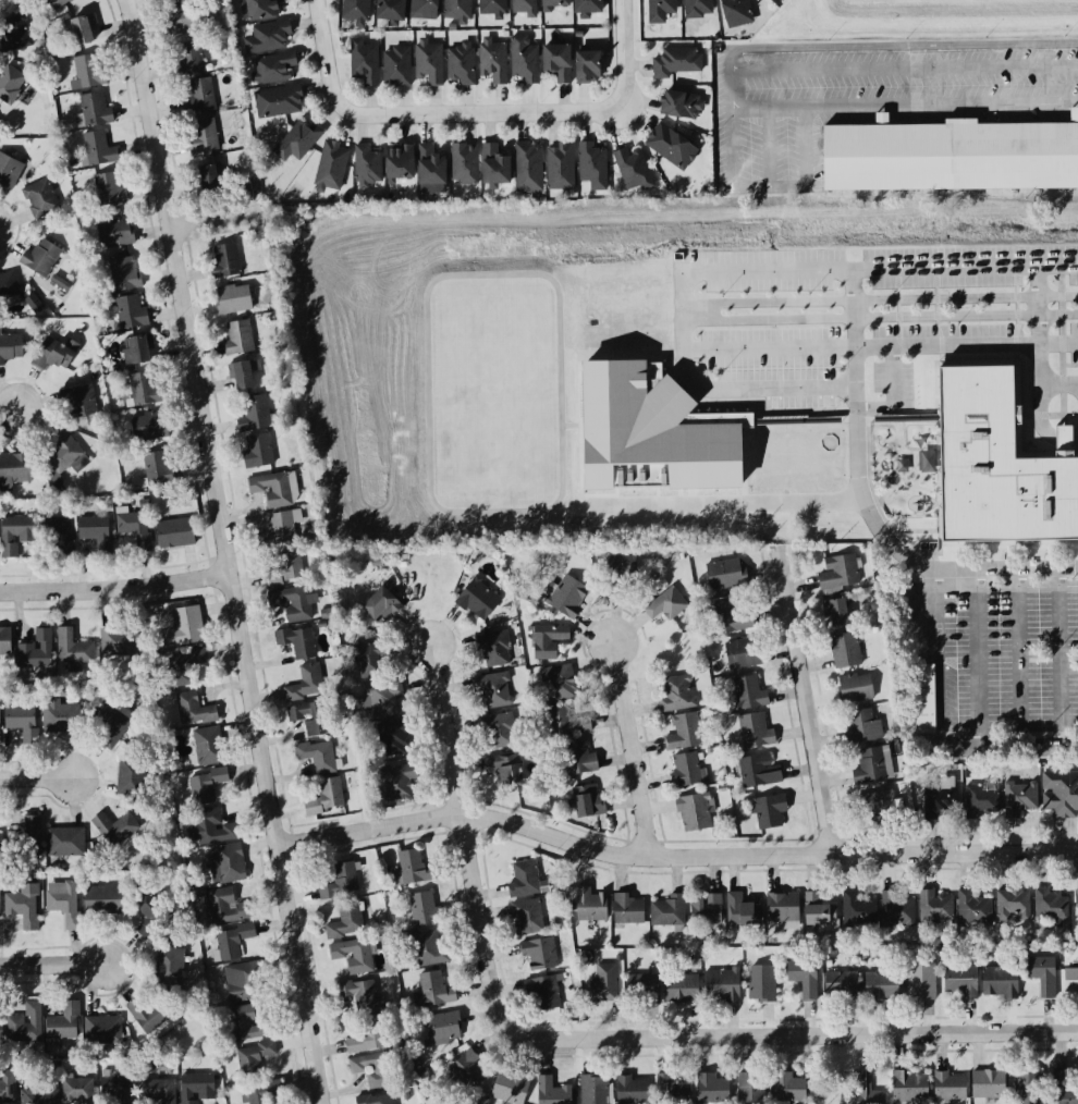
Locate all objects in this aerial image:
building: (166, 0)
building: (169, 0)
building: (56, 4)
building: (555, 4)
building: (587, 7)
building: (524, 8)
building: (261, 9)
building: (424, 9)
building: (491, 9)
building: (697, 9)
building: (356, 10)
building: (390, 10)
building: (457, 10)
building: (660, 11)
building: (735, 13)
building: (184, 22)
building: (82, 32)
building: (15, 34)
building: (267, 38)
road: (324, 57)
road: (623, 57)
building: (189, 59)
building: (524, 60)
building: (493, 61)
building: (556, 62)
building: (364, 63)
building: (428, 63)
building: (461, 63)
building: (678, 63)
building: (396, 68)
building: (587, 68)
building: (273, 69)
building: (88, 72)
building: (10, 84)
building: (199, 98)
building: (279, 102)
building: (684, 107)
building: (95, 111)
road: (481, 116)
building: (201, 137)
building: (296, 143)
building: (671, 147)
building: (99, 150)
building: (951, 156)
building: (400, 164)
building: (464, 164)
building: (331, 167)
building: (367, 167)
building: (429, 167)
building: (494, 167)
building: (528, 168)
building: (560, 168)
building: (595, 168)
road: (734, 168)
building: (632, 170)
building: (9, 172)
building: (207, 182)
building: (109, 191)
building: (40, 200)
road: (216, 219)
road: (1069, 222)
building: (114, 235)
building: (41, 258)
building: (224, 262)
building: (124, 274)
road: (1038, 286)
building: (8, 289)
building: (233, 299)
building: (130, 312)
road: (684, 327)
road: (857, 327)
building: (238, 339)
road: (967, 345)
road: (1038, 346)
building: (11, 349)
building: (135, 351)
building: (54, 355)
building: (242, 377)
building: (144, 389)
building: (77, 402)
road: (10, 410)
building: (254, 415)
building: (748, 422)
building: (148, 428)
road: (1041, 428)
building: (658, 437)
building: (257, 452)
building: (63, 457)
building: (990, 465)
building: (158, 468)
building: (13, 471)
building: (274, 491)
road: (740, 504)
building: (132, 527)
building: (279, 531)
building: (96, 533)
building: (15, 535)
building: (174, 535)
building: (58, 536)
road: (226, 551)
building: (625, 566)
building: (285, 571)
building: (838, 574)
building: (725, 575)
road: (115, 588)
building: (566, 597)
building: (477, 601)
building: (292, 605)
building: (665, 605)
building: (380, 608)
building: (837, 614)
building: (731, 620)
building: (183, 629)
building: (548, 641)
building: (4, 642)
building: (119, 642)
building: (299, 643)
building: (73, 649)
building: (495, 650)
building: (36, 652)
building: (844, 652)
road: (923, 652)
building: (743, 654)
road: (1061, 655)
building: (369, 661)
building: (184, 667)
building: (559, 684)
building: (306, 685)
building: (855, 690)
building: (493, 691)
building: (749, 695)
building: (676, 696)
building: (383, 699)
building: (929, 700)
road: (801, 702)
building: (194, 711)
building: (61, 719)
building: (309, 719)
building: (0, 720)
building: (23, 722)
building: (567, 724)
building: (111, 725)
building: (865, 727)
building: (755, 732)
building: (499, 733)
building: (685, 733)
building: (392, 740)
building: (208, 747)
road: (634, 751)
building: (317, 758)
building: (578, 759)
building: (872, 766)
building: (503, 771)
building: (687, 771)
building: (759, 772)
road: (36, 777)
building: (132, 777)
building: (397, 783)
building: (205, 786)
building: (1059, 797)
building: (1019, 798)
building: (326, 799)
building: (587, 802)
building: (982, 802)
building: (940, 804)
building: (878, 806)
building: (769, 812)
building: (694, 814)
building: (213, 829)
building: (114, 830)
building: (26, 836)
road: (465, 842)
building: (64, 843)
building: (1, 844)
road: (673, 857)
building: (224, 864)
building: (414, 869)
building: (524, 880)
building: (340, 883)
building: (102, 900)
building: (22, 903)
building: (63, 904)
building: (0, 906)
building: (222, 907)
building: (590, 907)
building: (1013, 907)
building: (1052, 907)
building: (1076, 907)
building: (422, 909)
building: (782, 909)
building: (935, 909)
building: (627, 910)
building: (898, 910)
building: (972, 910)
building: (705, 911)
building: (738, 911)
building: (858, 911)
building: (669, 912)
building: (818, 913)
building: (149, 916)
building: (527, 918)
building: (346, 921)
building: (232, 942)
building: (428, 949)
building: (539, 955)
building: (354, 957)
road: (53, 964)
building: (170, 968)
building: (1042, 976)
building: (804, 979)
building: (1070, 980)
building: (245, 982)
building: (921, 982)
building: (959, 982)
building: (604, 984)
building: (762, 984)
building: (1000, 984)
building: (841, 986)
building: (642, 988)
building: (721, 988)
building: (881, 988)
building: (681, 990)
building: (432, 992)
building: (543, 993)
building: (359, 995)
building: (149, 1016)
building: (62, 1023)
building: (247, 1025)
building: (25, 1026)
building: (442, 1029)
building: (102, 1031)
building: (0, 1034)
road: (793, 1035)
building: (367, 1038)
building: (254, 1059)
building: (376, 1070)
building: (469, 1070)
building: (988, 1085)
building: (948, 1088)
building: (1063, 1088)
building: (8, 1089)
building: (196, 1089)
building: (510, 1089)
building: (750, 1089)
building: (788, 1089)
building: (909, 1089)
building: (1027, 1089)
building: (118, 1090)
building: (593, 1090)
building: (711, 1090)
building: (867, 1090)
building: (670, 1091)
building: (77, 1092)
building: (158, 1092)
building: (264, 1092)
building: (551, 1092)
building: (633, 1092)
building: (38, 1096)
building: (376, 1100)

